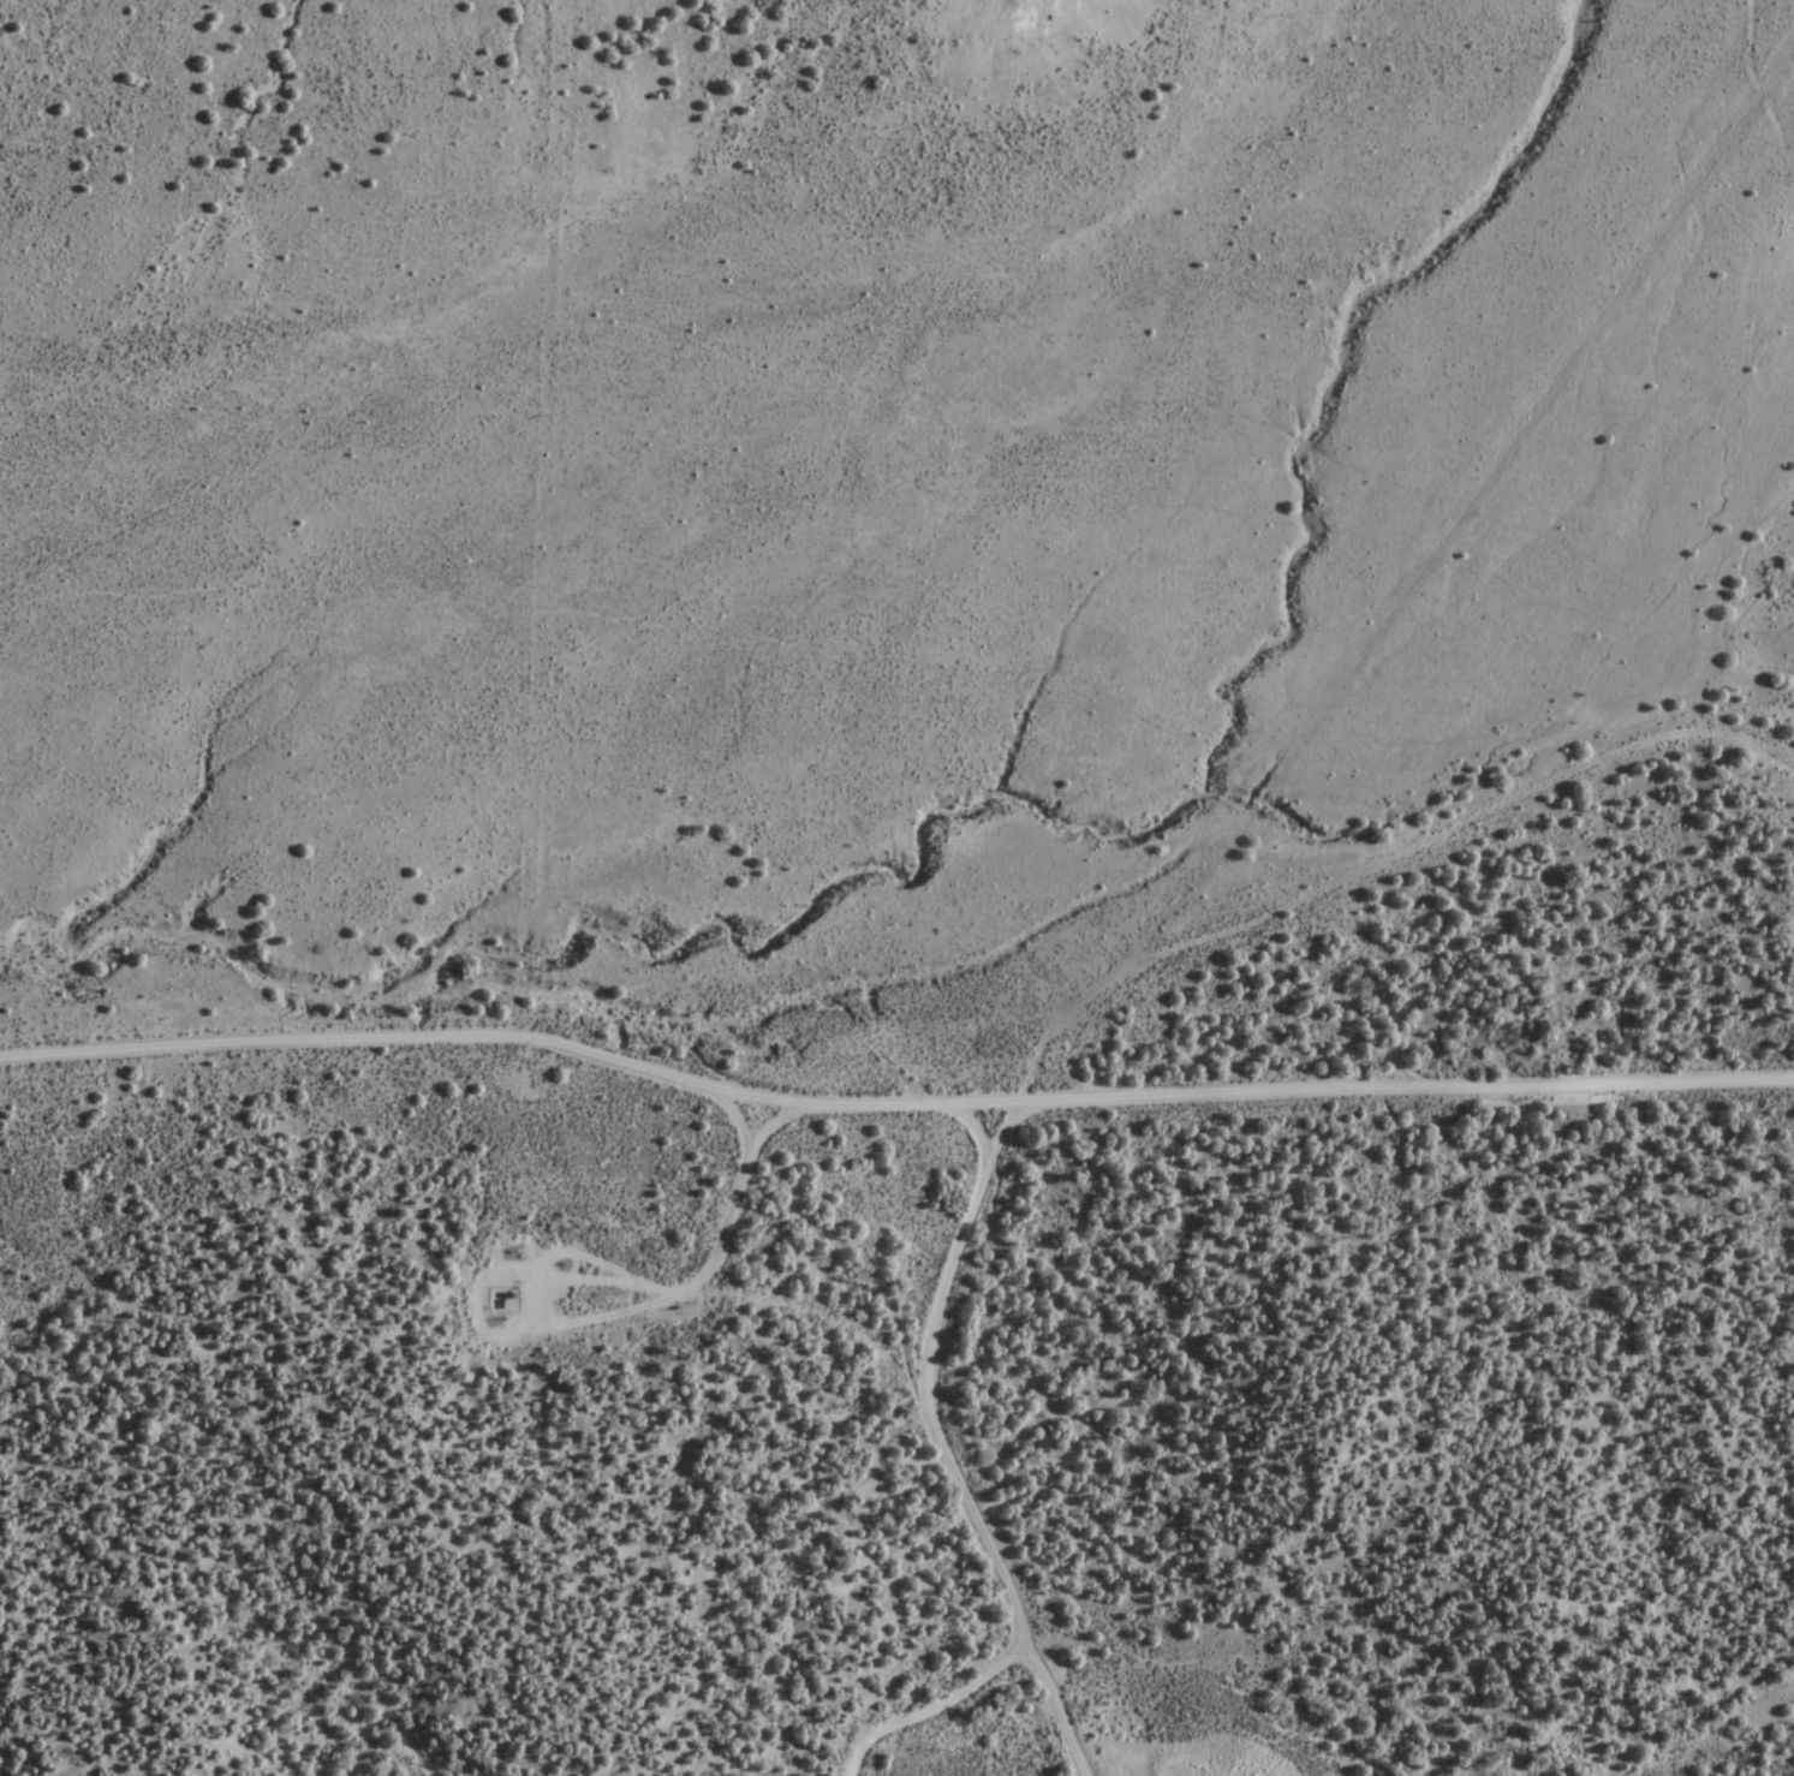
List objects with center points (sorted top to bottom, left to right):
road: (1542, 376)
road: (1089, 990)
road: (894, 1115)
road: (964, 1455)

